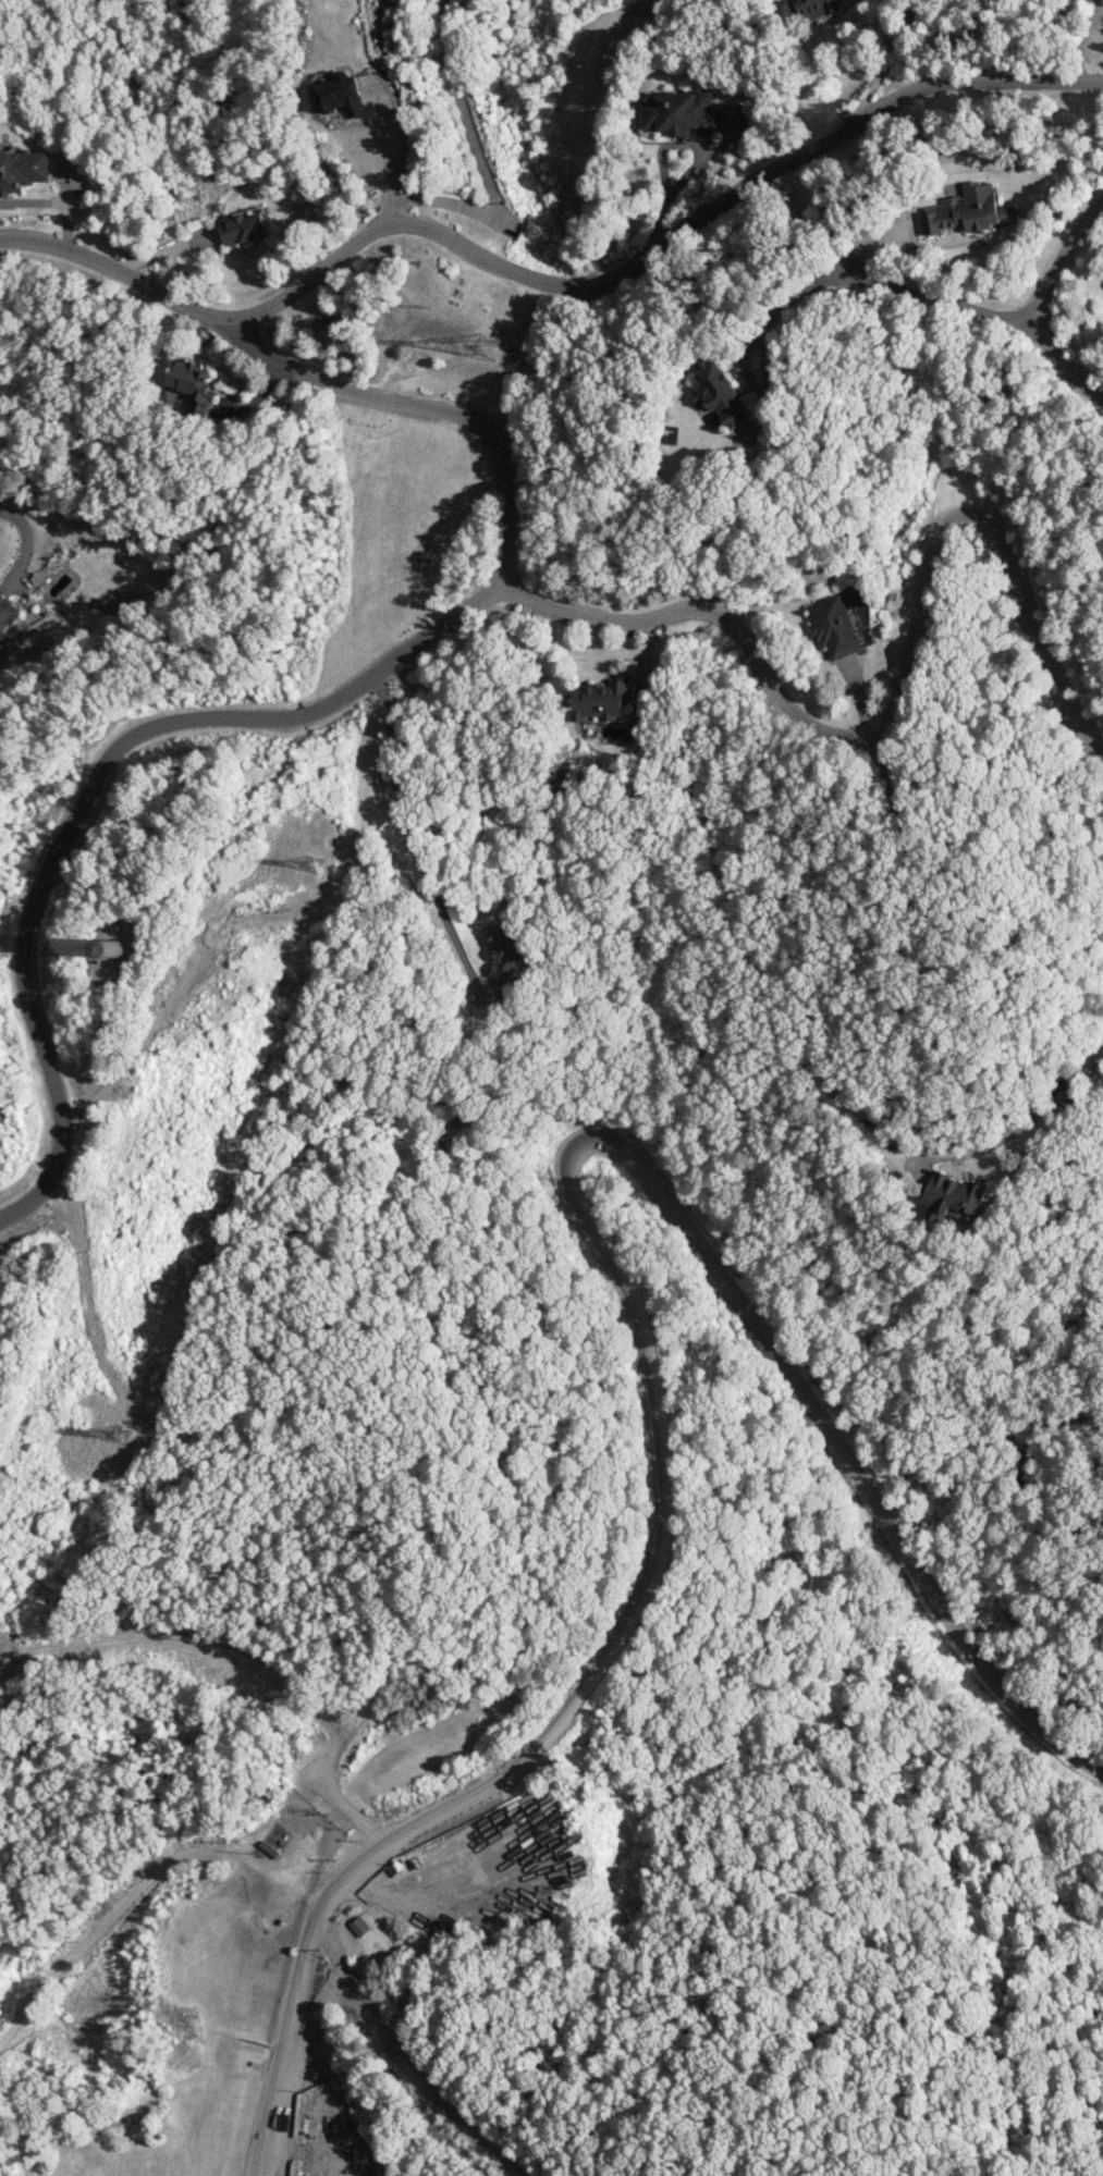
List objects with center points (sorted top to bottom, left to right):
building: (812, 9)
building: (339, 95)
building: (678, 113)
road: (696, 163)
road: (481, 168)
building: (22, 169)
building: (967, 210)
building: (243, 229)
road: (553, 287)
road: (940, 300)
road: (1043, 306)
power tower: (498, 311)
road: (749, 349)
building: (193, 384)
building: (719, 393)
road: (425, 411)
building: (7, 613)
building: (832, 626)
road: (902, 690)
building: (600, 700)
road: (94, 786)
power tower: (322, 833)
road: (419, 859)
water tower: (117, 949)
building: (505, 952)
road: (1031, 1118)
road: (642, 1336)
power tower: (118, 1434)
building: (359, 1926)
landfill: (324, 1942)
road: (284, 2049)

